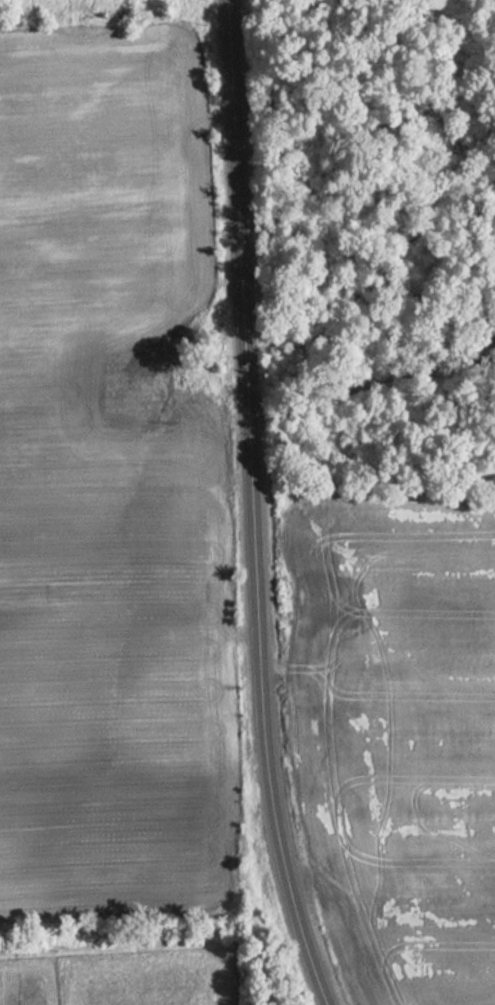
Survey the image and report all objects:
road: (372, 383)
road: (251, 506)

